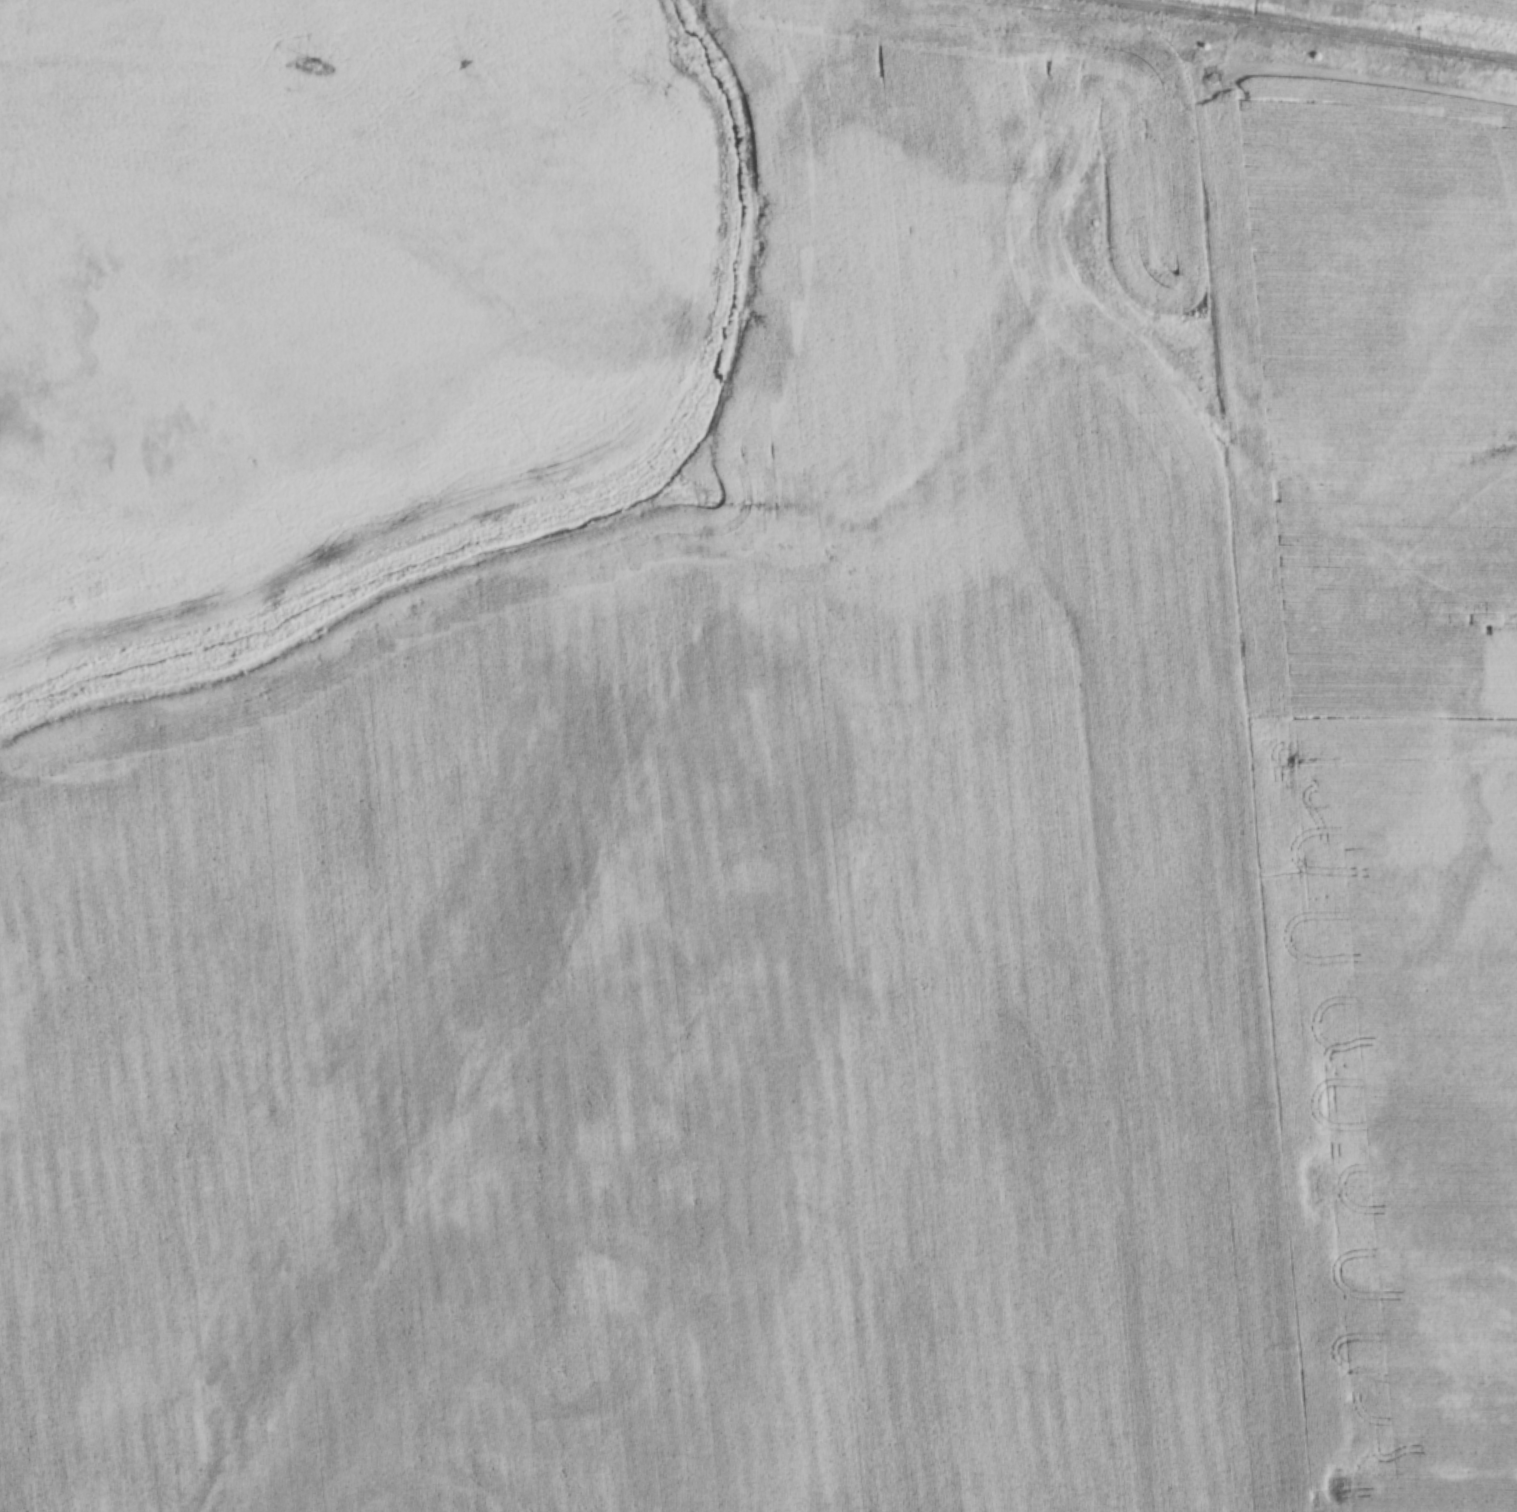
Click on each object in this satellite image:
railway: (1297, 36)

